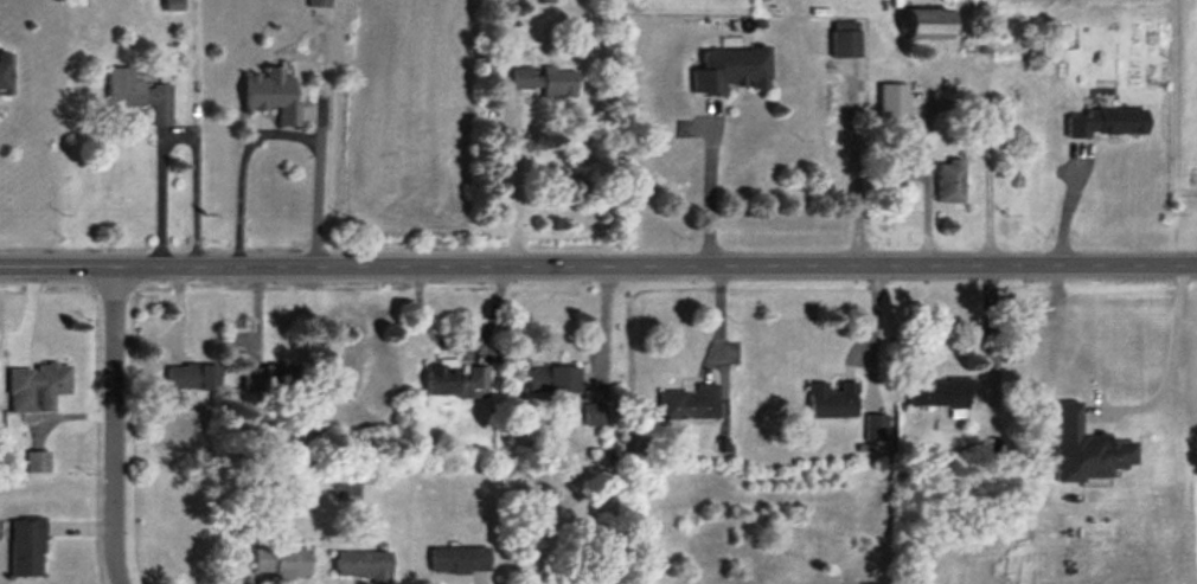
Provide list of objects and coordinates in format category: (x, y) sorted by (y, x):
building: (545, 1)
building: (319, 4)
building: (932, 25)
building: (846, 39)
building: (731, 71)
building: (6, 73)
road: (320, 78)
building: (546, 82)
building: (141, 95)
building: (274, 96)
road: (953, 102)
building: (1110, 124)
road: (280, 131)
road: (175, 134)
building: (952, 182)
road: (518, 184)
road: (710, 195)
road: (597, 261)
road: (175, 325)
road: (604, 326)
road: (461, 349)
road: (1171, 360)
building: (194, 378)
building: (273, 379)
building: (456, 381)
building: (553, 383)
building: (38, 389)
building: (940, 394)
building: (833, 402)
building: (691, 404)
road: (116, 423)
building: (1088, 451)
building: (27, 548)
building: (461, 560)
building: (282, 561)
building: (364, 564)

